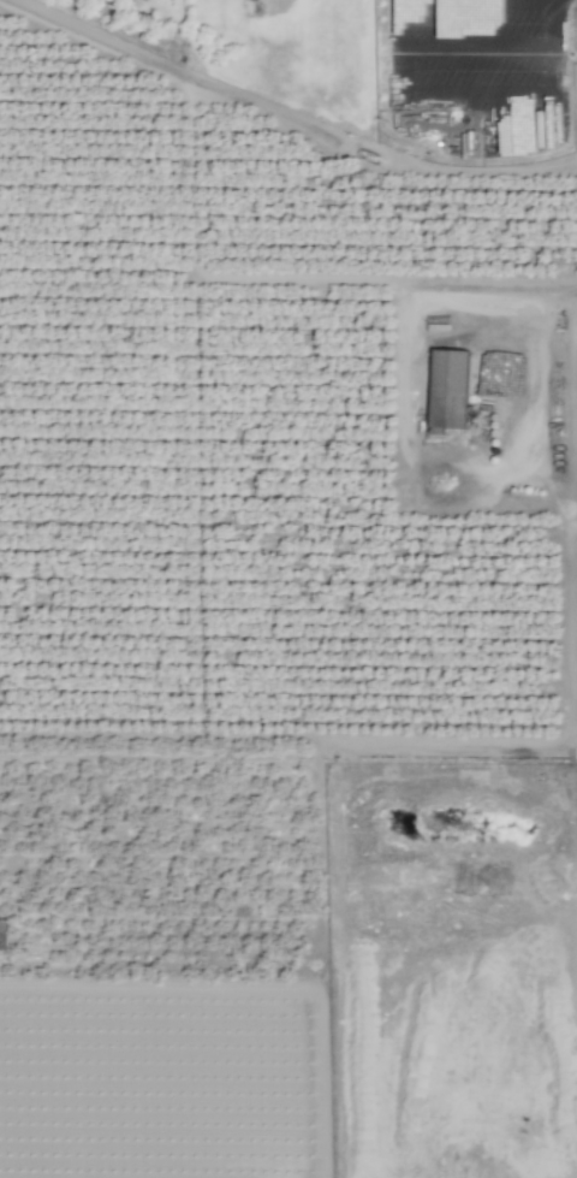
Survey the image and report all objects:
road: (460, 39)
road: (533, 88)
building: (450, 391)
building: (1, 934)

